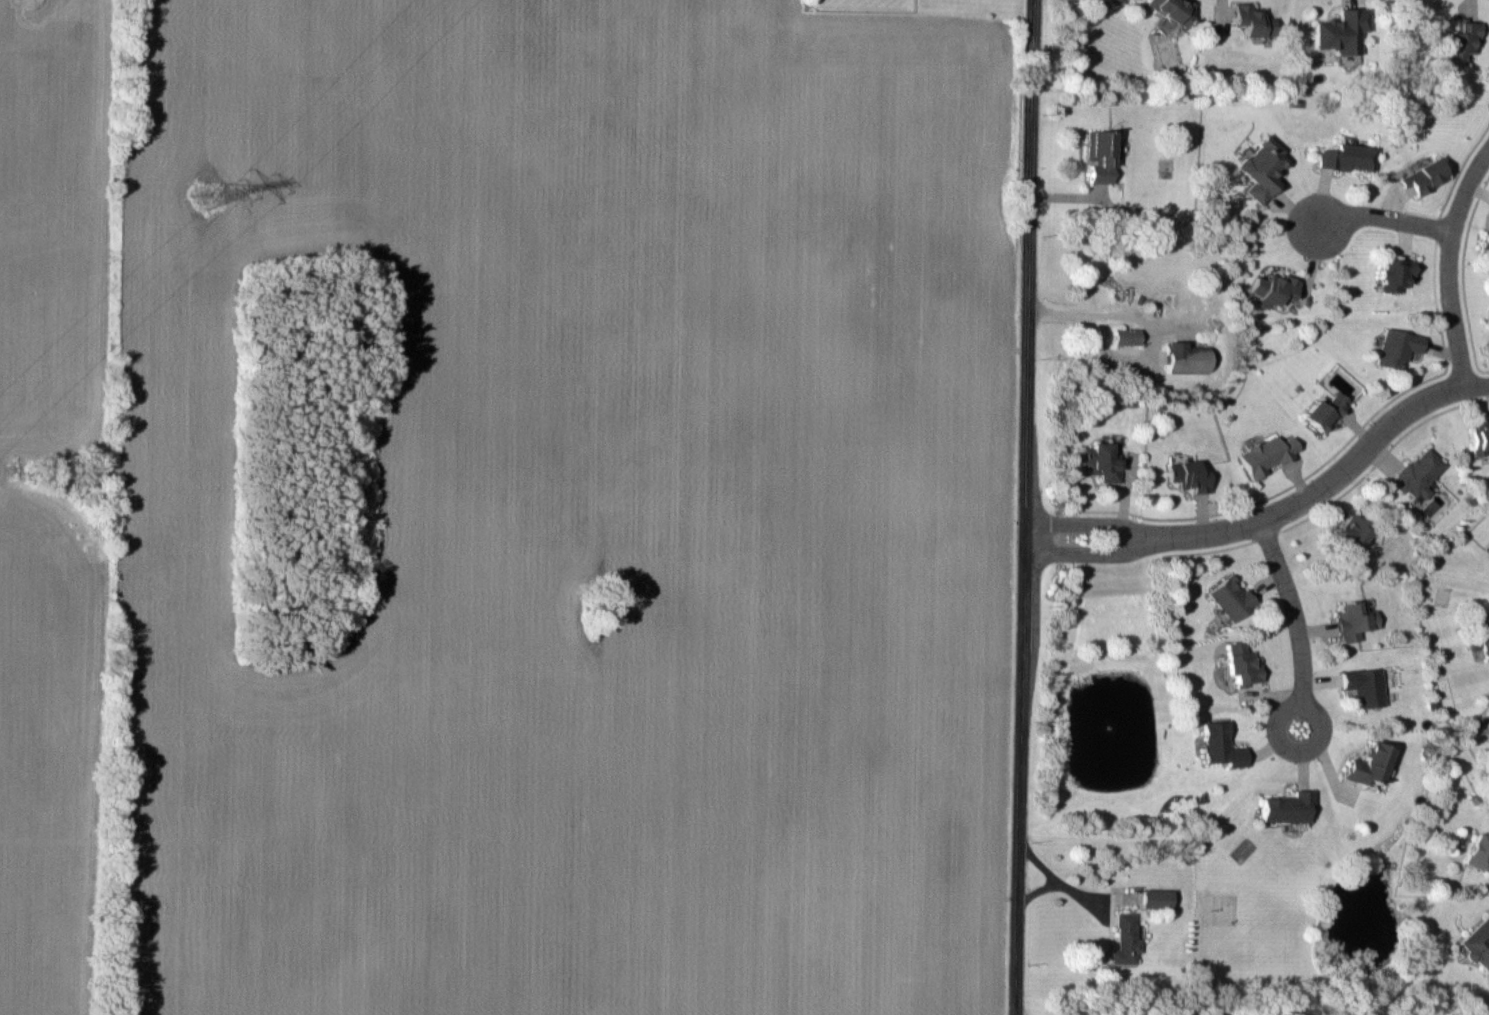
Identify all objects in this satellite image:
building: (1169, 8)
building: (1253, 20)
building: (1339, 31)
building: (1459, 42)
building: (1099, 156)
building: (1346, 157)
building: (1257, 167)
building: (1420, 176)
power tower: (208, 194)
road: (1390, 219)
building: (1482, 239)
road: (1452, 270)
building: (1394, 274)
building: (1272, 288)
building: (1486, 322)
building: (1125, 335)
building: (1488, 340)
building: (1396, 348)
building: (1324, 409)
building: (1479, 436)
building: (1266, 453)
building: (1101, 462)
building: (1418, 473)
building: (1186, 475)
road: (1331, 484)
road: (1013, 507)
road: (1083, 525)
building: (1348, 533)
road: (1084, 553)
building: (1229, 596)
road: (1294, 605)
building: (1353, 618)
building: (1481, 634)
building: (1239, 662)
building: (1364, 685)
road: (1323, 740)
building: (1218, 744)
building: (1364, 761)
building: (1284, 806)
building: (1475, 849)
road: (1058, 882)
road: (1037, 897)
building: (1150, 898)
building: (1227, 908)
building: (1124, 939)
building: (1478, 943)

